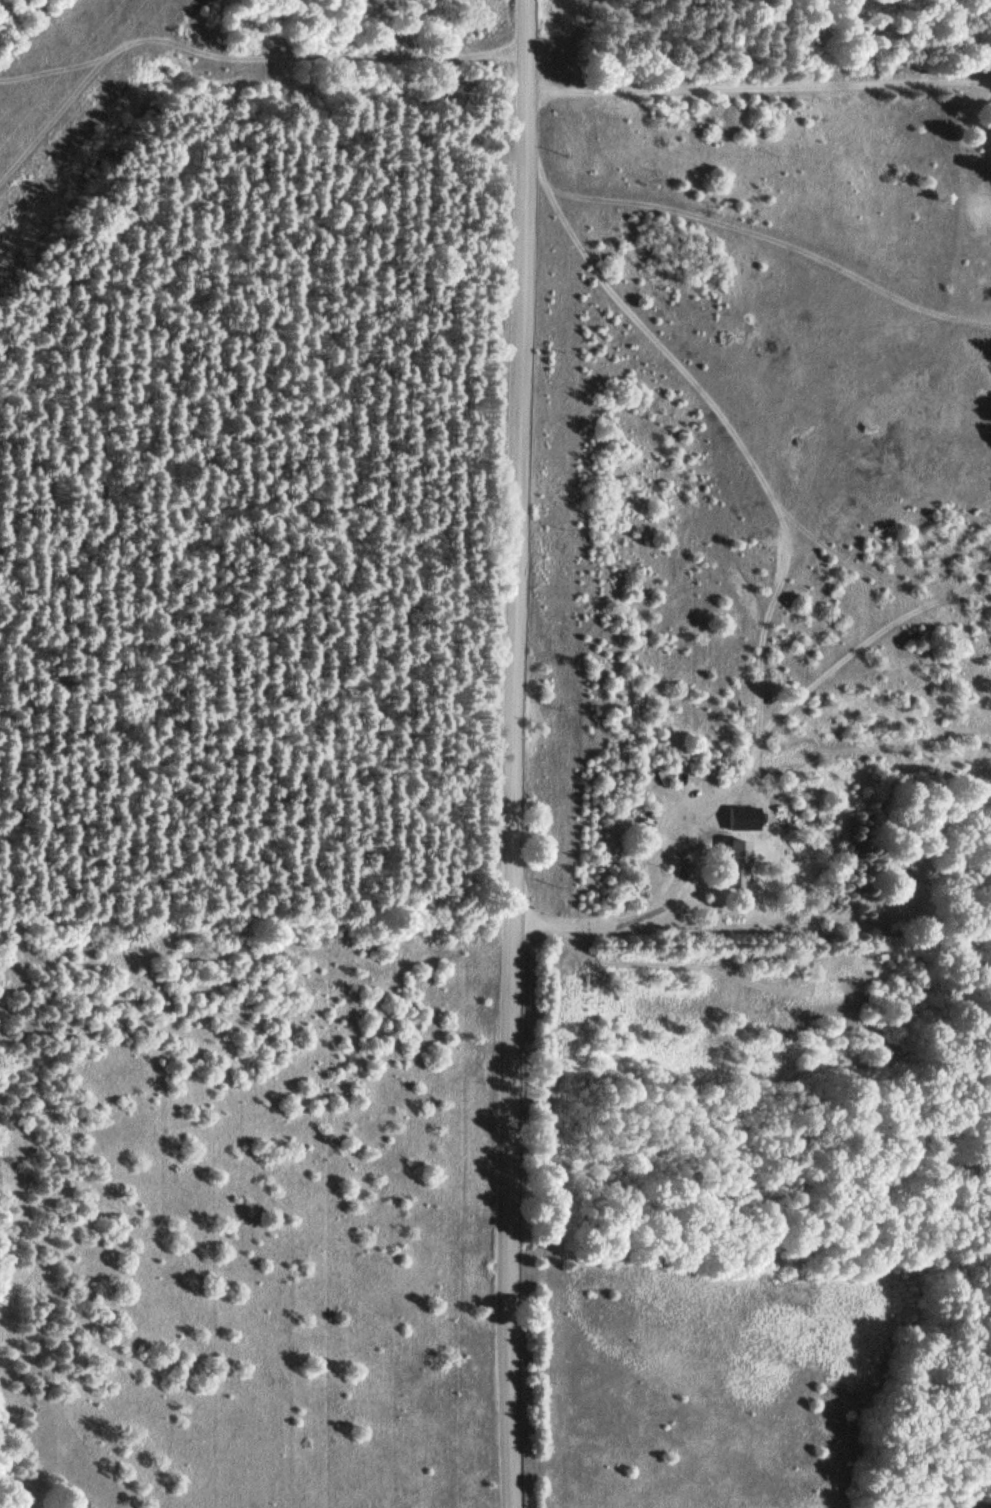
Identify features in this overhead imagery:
road: (760, 85)
road: (514, 753)
building: (742, 816)
building: (734, 861)
road: (629, 918)

